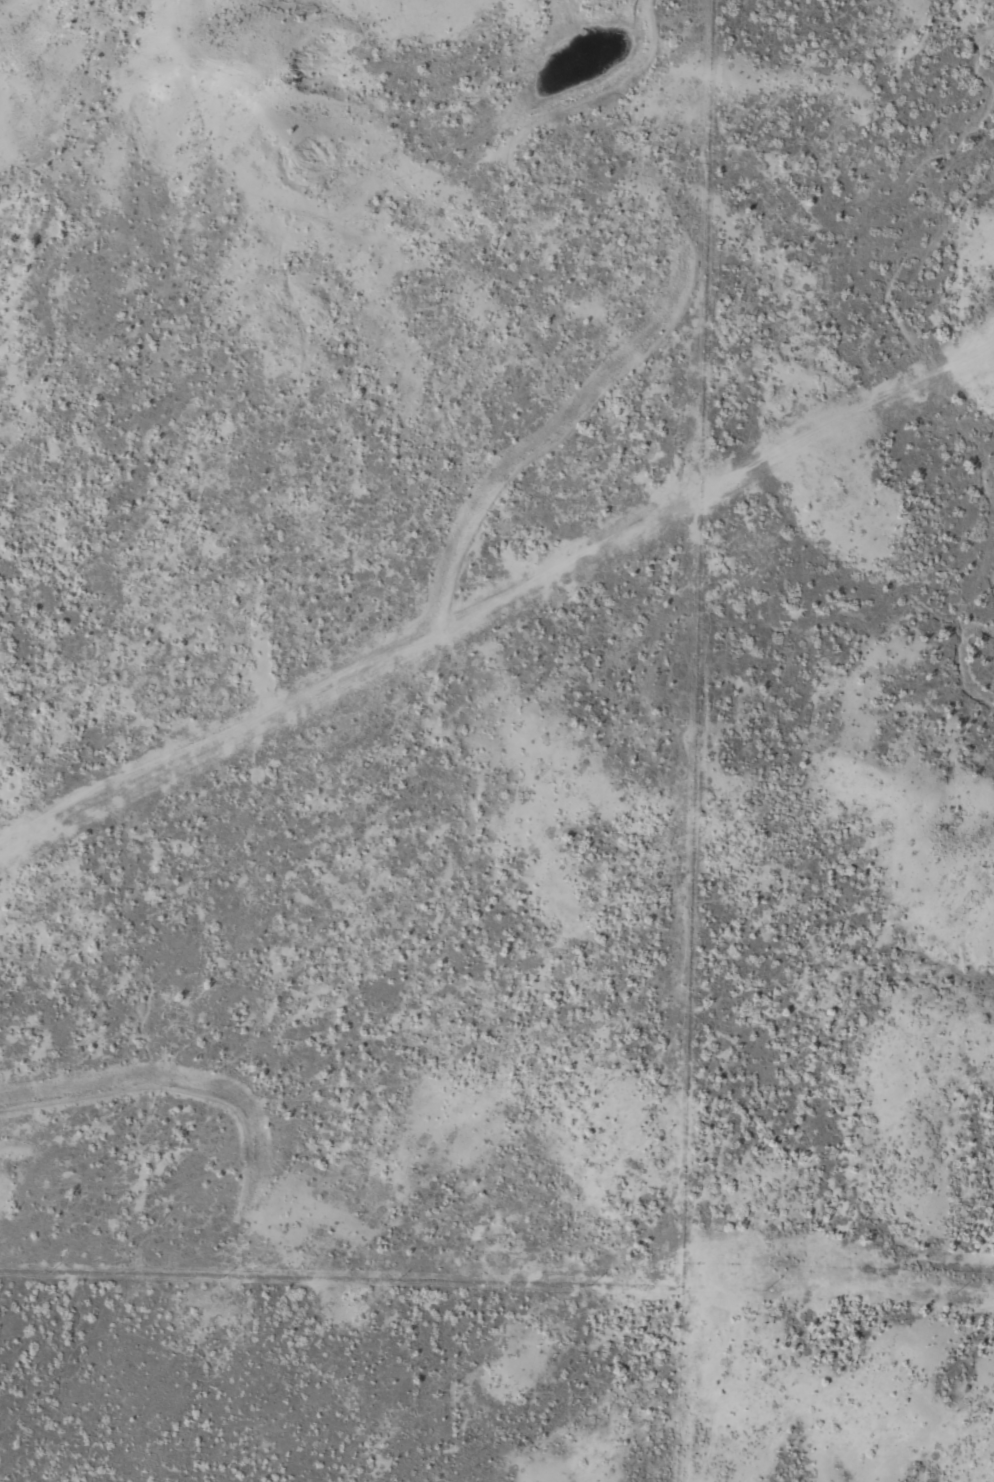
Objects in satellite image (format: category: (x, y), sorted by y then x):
road: (979, 1452)

